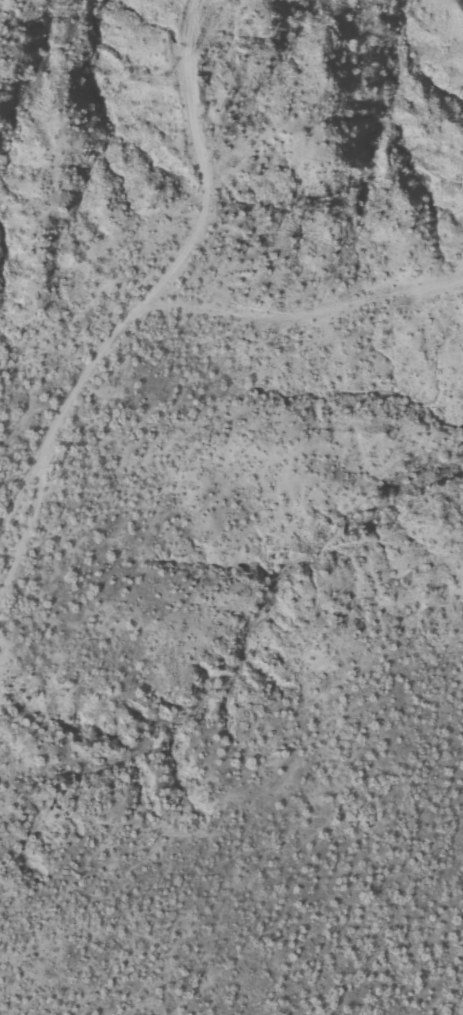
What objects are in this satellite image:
road: (174, 263)
road: (314, 287)

